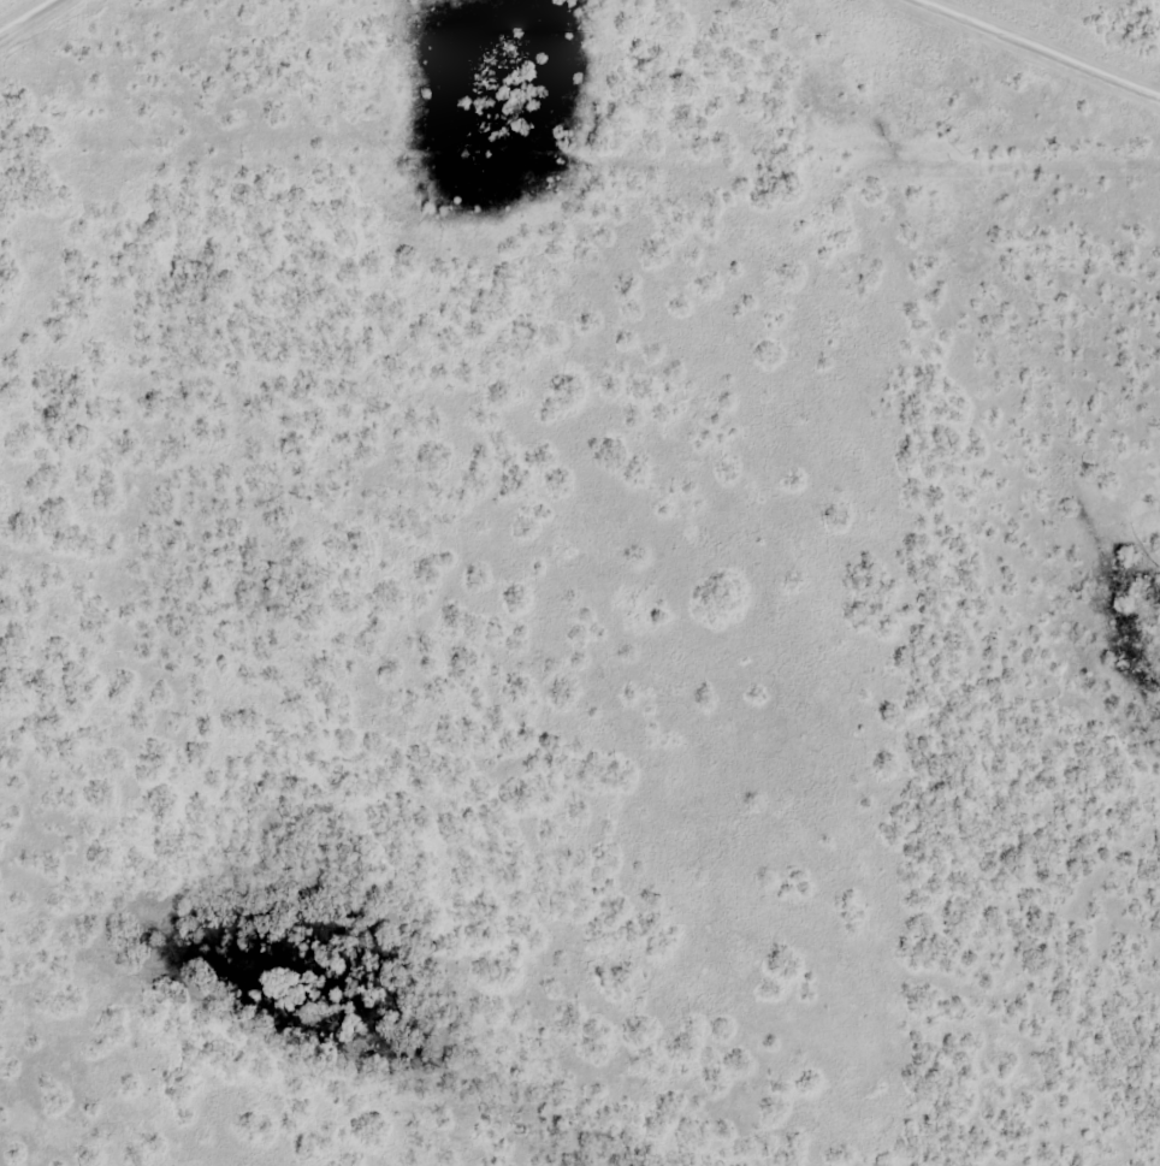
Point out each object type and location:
road: (59, 12)
road: (43, 29)
road: (1024, 49)

